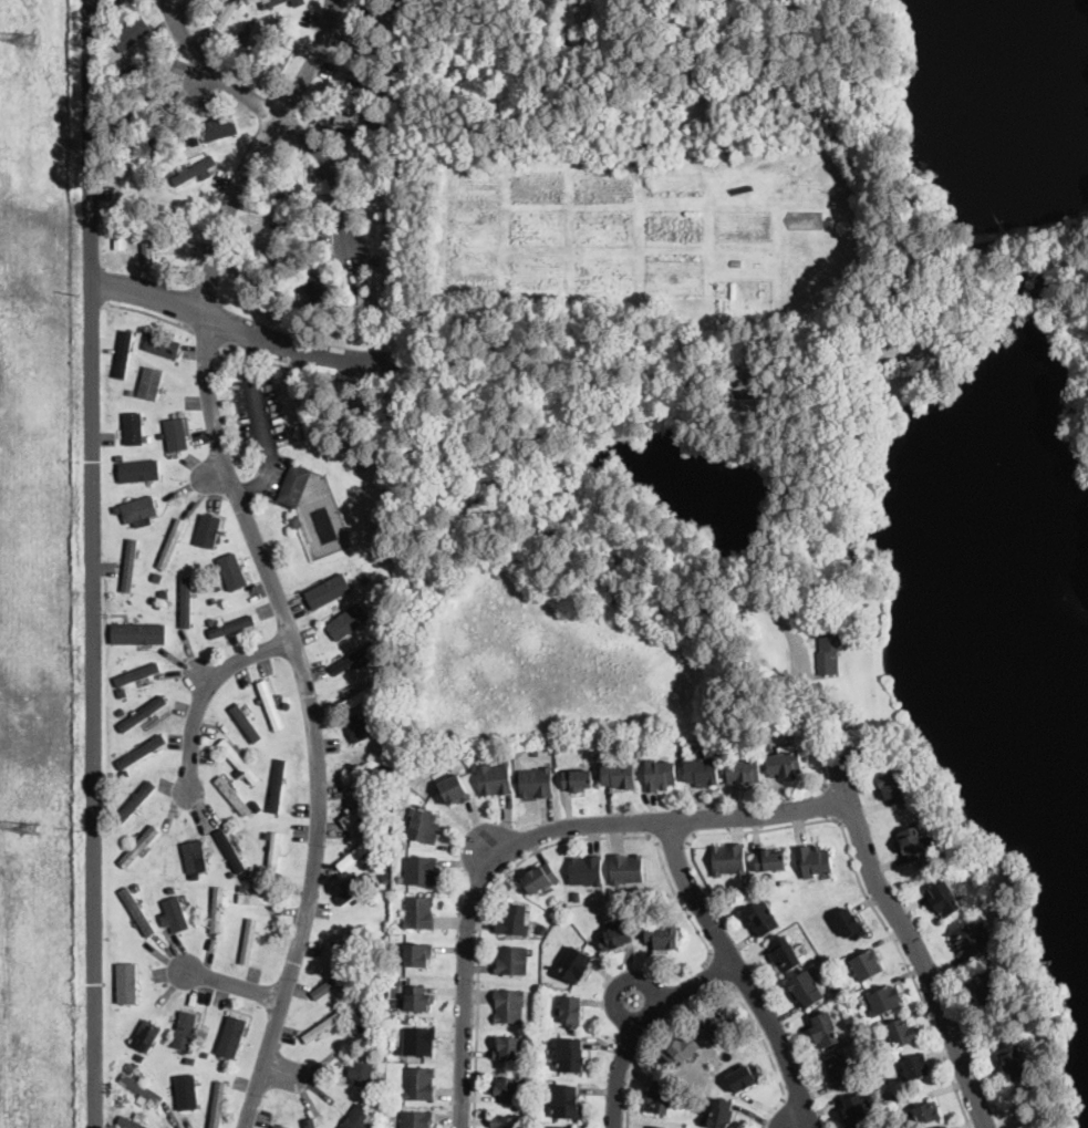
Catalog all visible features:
building: (123, 3)
building: (380, 10)
building: (225, 15)
building: (249, 24)
building: (131, 32)
building: (251, 40)
power tower: (25, 41)
building: (377, 54)
building: (282, 60)
building: (142, 66)
building: (369, 89)
road: (279, 113)
building: (403, 114)
building: (141, 115)
building: (358, 124)
building: (219, 126)
building: (160, 137)
building: (195, 168)
building: (379, 168)
building: (284, 185)
building: (806, 218)
building: (391, 220)
building: (118, 225)
building: (291, 229)
building: (147, 244)
building: (736, 261)
building: (313, 286)
building: (387, 297)
building: (329, 302)
building: (359, 310)
building: (372, 311)
road: (242, 328)
building: (142, 329)
building: (162, 345)
building: (123, 352)
building: (921, 356)
building: (747, 358)
park: (745, 368)
building: (147, 381)
building: (151, 381)
building: (129, 391)
building: (743, 403)
building: (158, 417)
road: (262, 422)
building: (133, 428)
building: (176, 430)
building: (147, 438)
building: (120, 456)
building: (138, 469)
building: (293, 485)
building: (139, 509)
building: (296, 521)
building: (208, 531)
building: (172, 541)
road: (258, 553)
road: (92, 563)
building: (129, 565)
landfill: (34, 568)
building: (232, 571)
building: (197, 575)
building: (157, 576)
building: (215, 586)
building: (331, 589)
building: (186, 602)
building: (864, 607)
building: (800, 608)
building: (213, 620)
building: (374, 621)
building: (348, 623)
building: (232, 624)
building: (138, 633)
building: (828, 652)
building: (356, 659)
building: (135, 675)
road: (203, 687)
building: (122, 693)
building: (359, 696)
building: (260, 701)
building: (270, 704)
building: (287, 704)
building: (121, 711)
building: (143, 712)
building: (382, 722)
building: (247, 724)
building: (363, 726)
building: (141, 751)
building: (535, 752)
building: (386, 753)
building: (502, 758)
building: (239, 760)
building: (784, 763)
building: (473, 766)
building: (263, 769)
building: (364, 769)
building: (703, 770)
building: (744, 772)
building: (620, 775)
building: (660, 775)
building: (494, 779)
building: (578, 779)
building: (536, 783)
building: (278, 784)
building: (891, 788)
building: (455, 790)
building: (232, 795)
building: (120, 798)
building: (391, 801)
building: (135, 803)
building: (256, 806)
building: (362, 808)
power tower: (29, 827)
building: (424, 827)
building: (379, 829)
road: (529, 832)
road: (674, 840)
building: (912, 844)
road: (488, 845)
building: (139, 846)
building: (230, 849)
building: (121, 851)
building: (358, 851)
building: (274, 852)
building: (195, 855)
building: (727, 859)
building: (770, 860)
building: (812, 860)
road: (520, 861)
building: (626, 869)
building: (586, 870)
building: (421, 871)
building: (540, 879)
building: (243, 887)
building: (355, 888)
building: (261, 897)
building: (944, 898)
building: (563, 902)
road: (871, 902)
building: (217, 909)
building: (137, 911)
building: (176, 911)
building: (418, 912)
building: (760, 917)
building: (515, 919)
building: (241, 920)
building: (850, 924)
building: (662, 934)
building: (349, 935)
building: (615, 938)
road: (906, 938)
building: (971, 939)
building: (369, 940)
building: (249, 941)
building: (783, 953)
building: (417, 954)
building: (360, 956)
building: (511, 961)
building: (574, 964)
building: (866, 964)
road: (722, 965)
road: (738, 972)
building: (333, 981)
building: (127, 983)
road: (232, 984)
building: (835, 986)
building: (983, 986)
building: (805, 989)
building: (847, 991)
building: (416, 998)
building: (348, 1000)
building: (883, 1000)
building: (371, 1005)
building: (509, 1005)
building: (571, 1011)
building: (405, 1020)
road: (641, 1022)
building: (718, 1023)
building: (324, 1025)
building: (185, 1028)
building: (822, 1029)
building: (900, 1033)
building: (146, 1034)
building: (232, 1035)
road: (652, 1036)
building: (419, 1041)
building: (509, 1049)
building: (683, 1049)
building: (206, 1053)
road: (769, 1054)
building: (572, 1055)
building: (139, 1056)
building: (190, 1059)
building: (1012, 1059)
building: (131, 1065)
building: (916, 1066)
building: (363, 1069)
building: (837, 1070)
building: (744, 1077)
building: (419, 1084)
building: (508, 1089)
building: (142, 1090)
building: (187, 1090)
building: (660, 1097)
building: (897, 1098)
building: (567, 1101)
building: (120, 1104)
building: (218, 1105)
building: (854, 1111)
building: (925, 1113)
building: (721, 1114)
building: (359, 1118)
building: (417, 1119)
building: (133, 1121)
building: (310, 1121)
building: (508, 1122)
building: (281, 1124)
building: (376, 1127)
building: (566, 1127)
building: (660, 1127)
building: (946, 1127)

